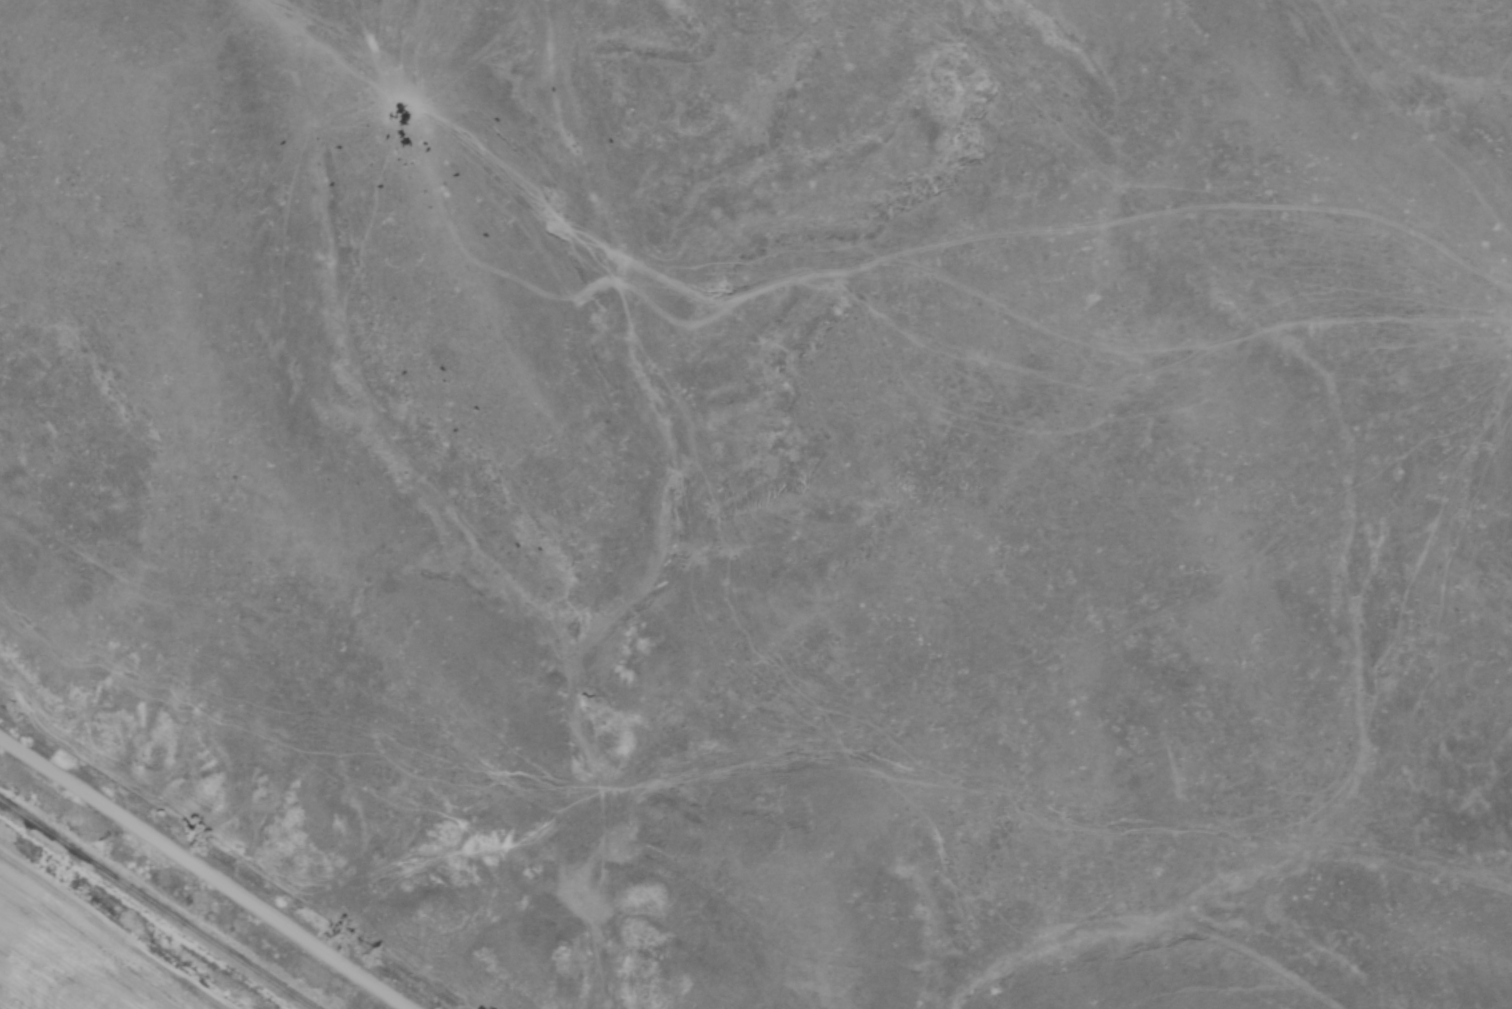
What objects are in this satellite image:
road: (205, 870)
railway: (154, 906)

